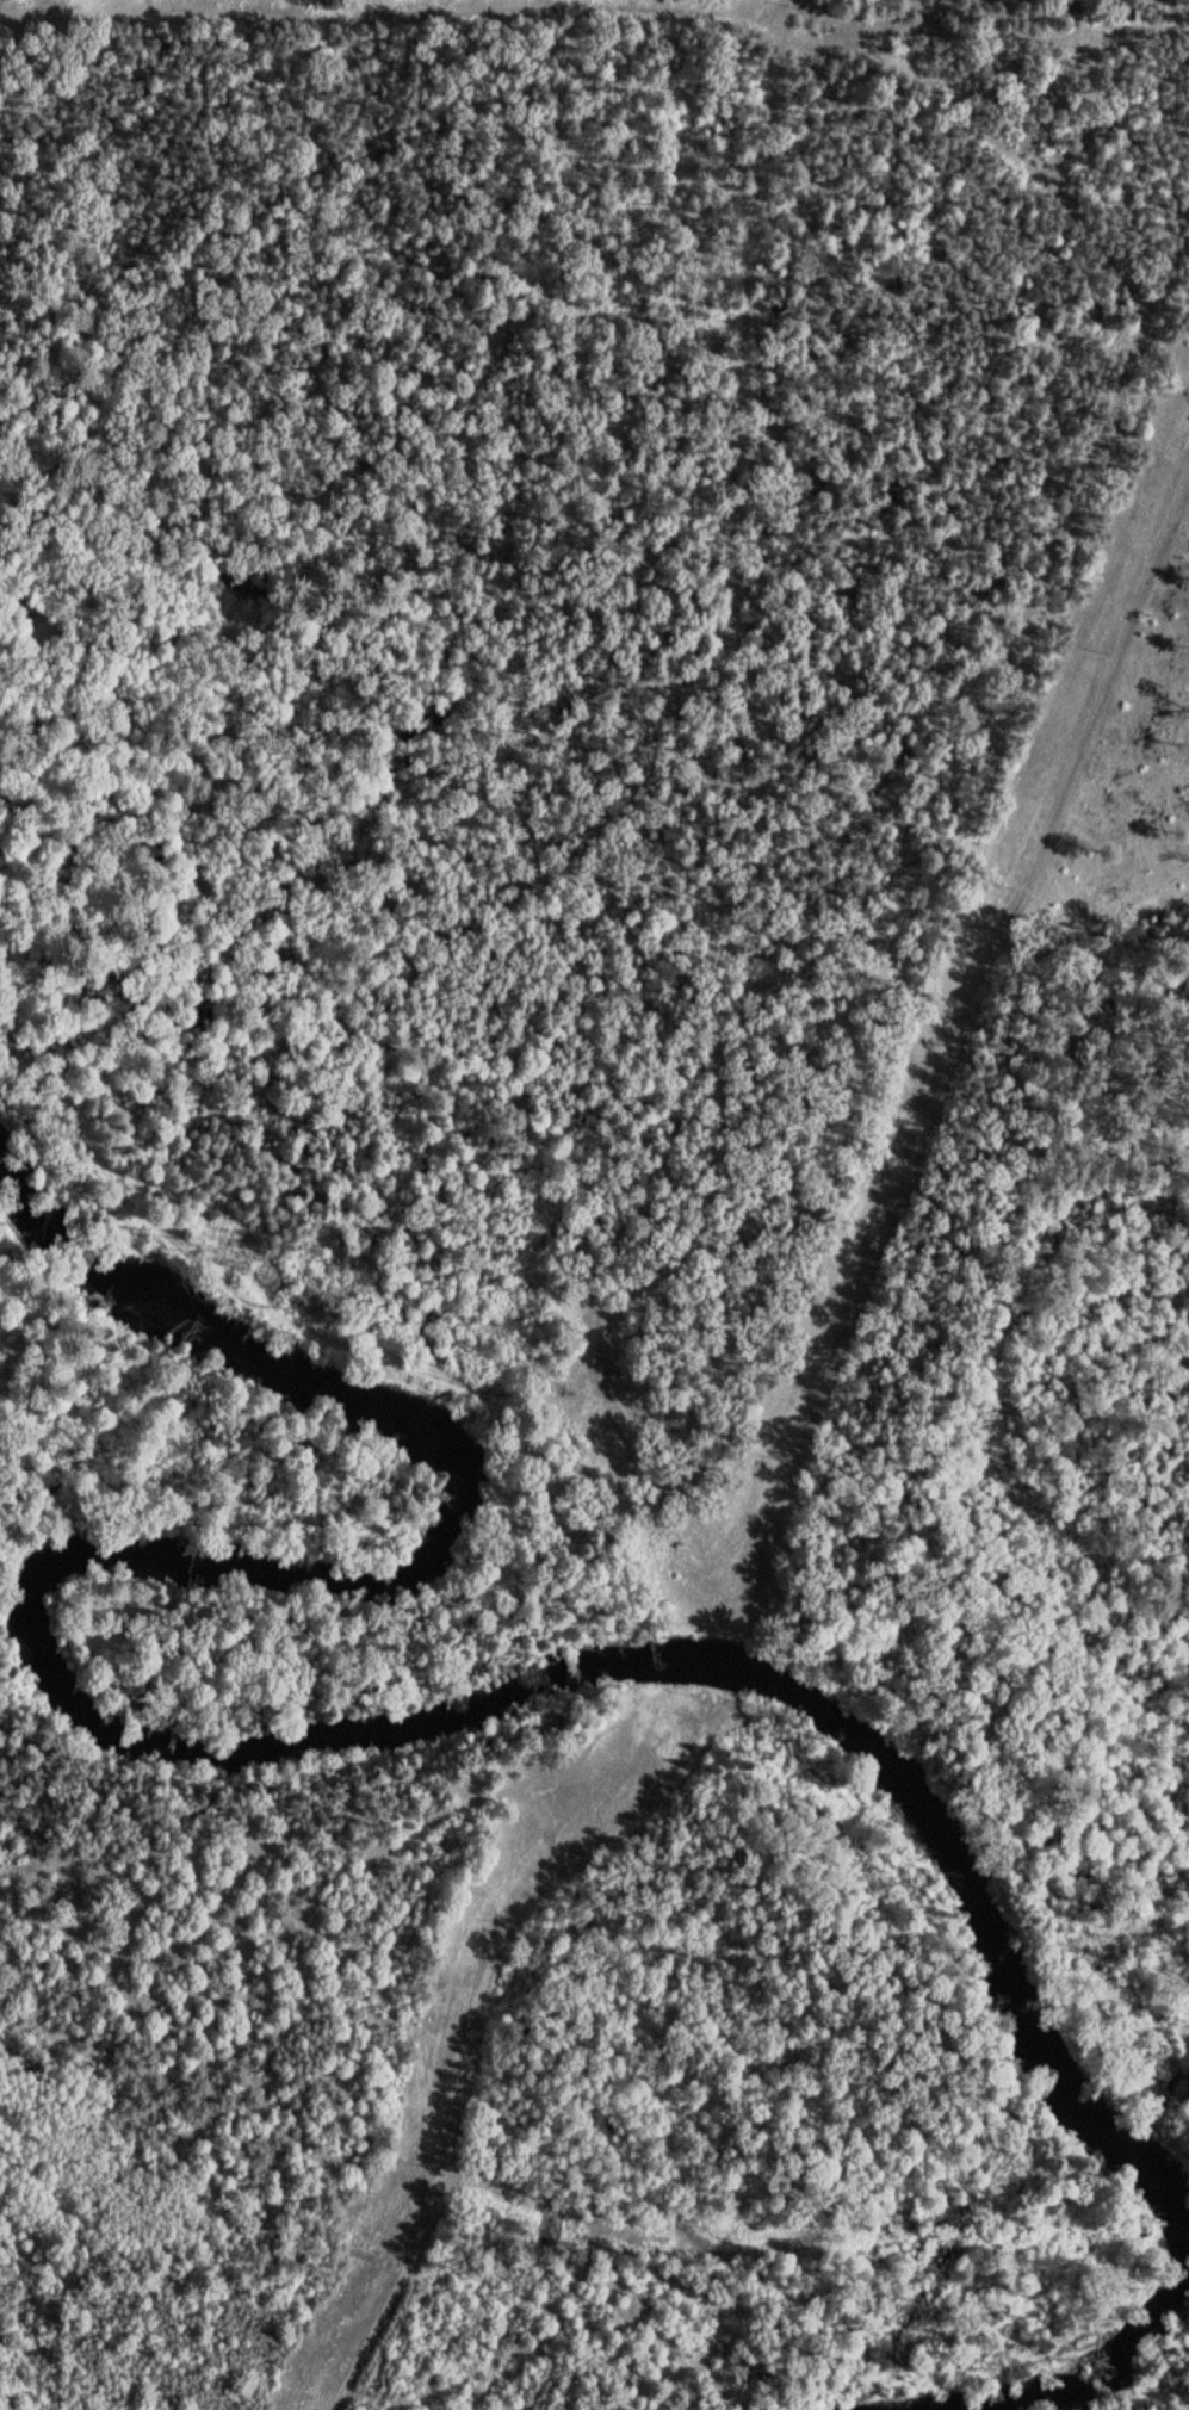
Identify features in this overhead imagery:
road: (794, 1)
road: (396, 5)
river: (320, 1742)
road: (283, 1838)
road: (446, 2123)

